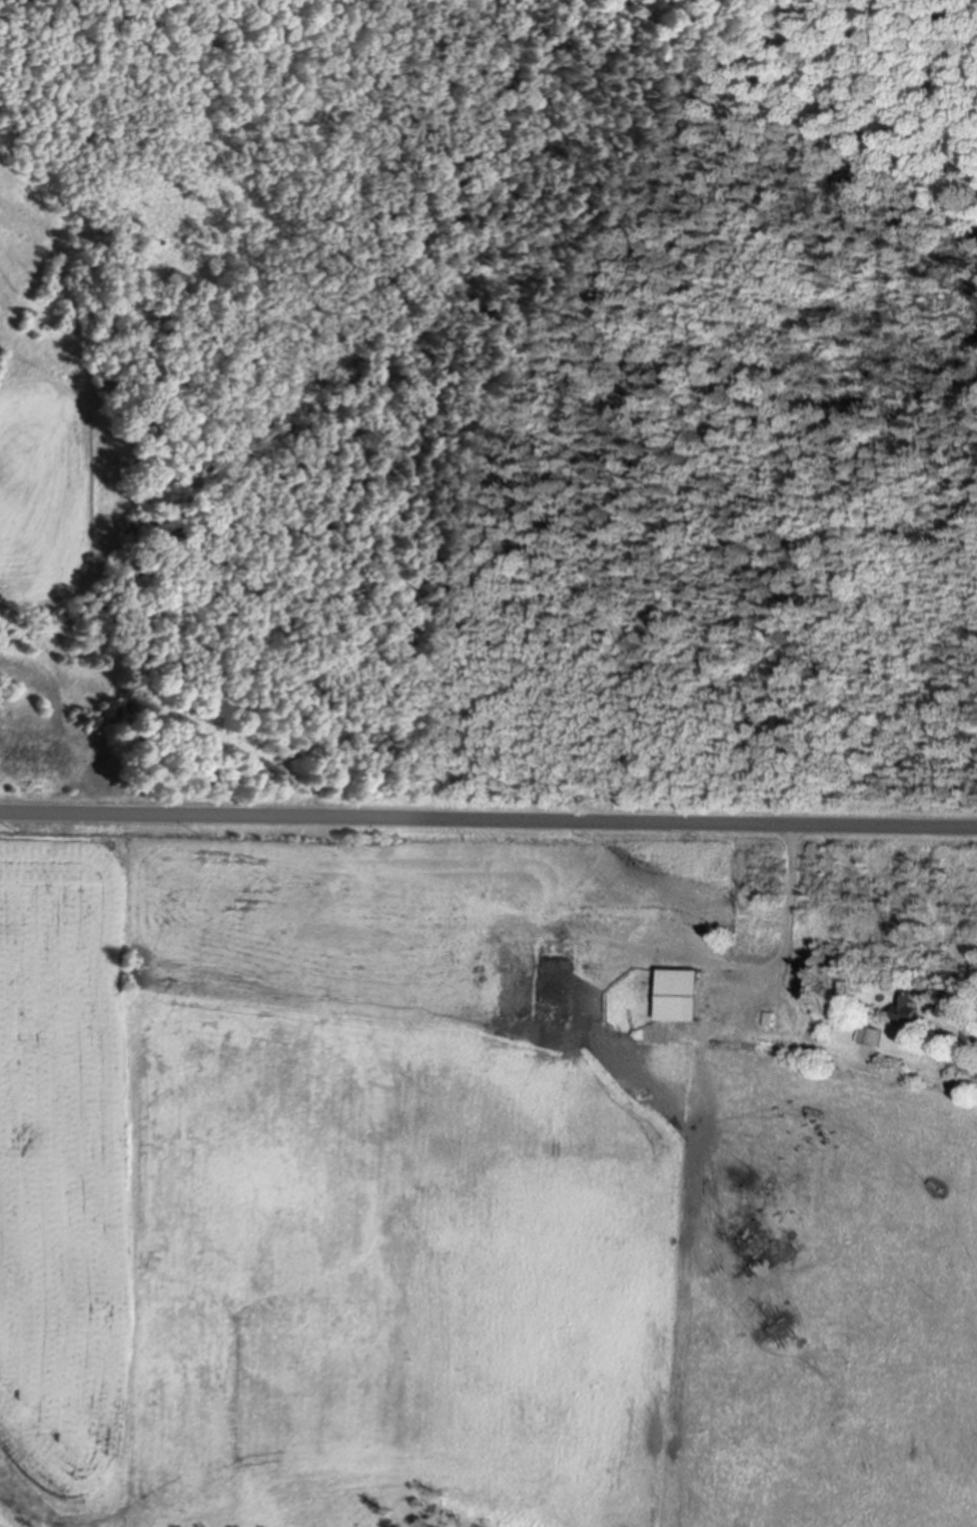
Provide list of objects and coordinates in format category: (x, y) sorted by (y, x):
road: (488, 815)
building: (910, 1002)
building: (753, 1006)
building: (873, 1031)

